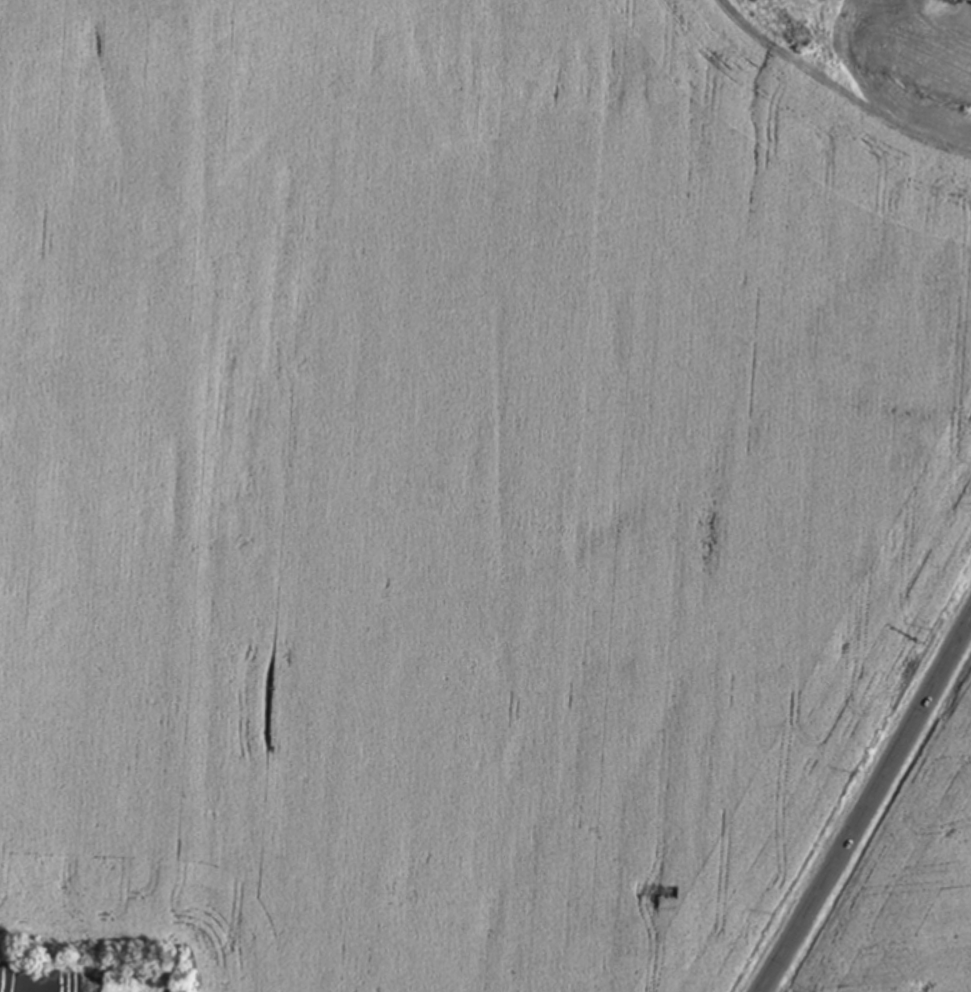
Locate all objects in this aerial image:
building: (959, 39)
road: (870, 809)

